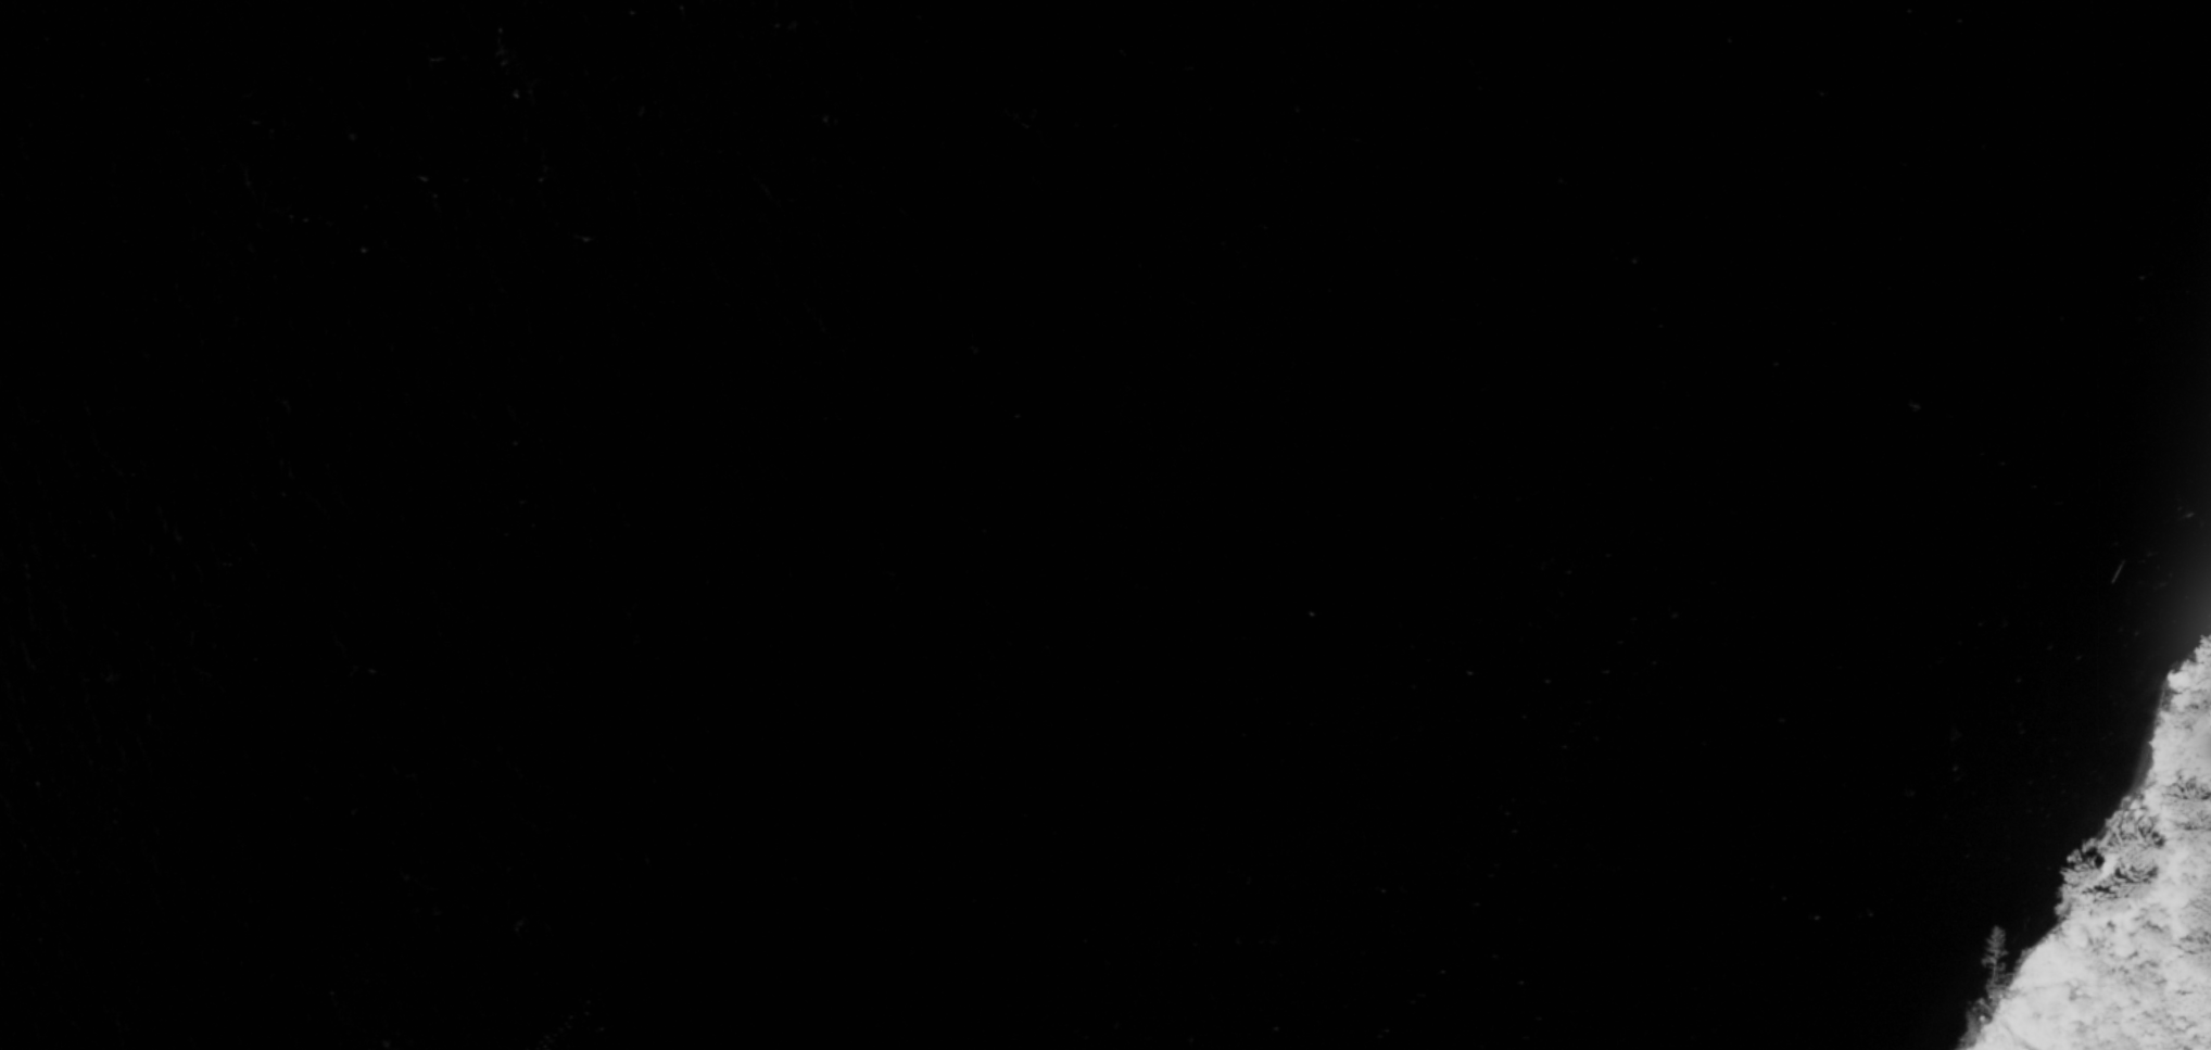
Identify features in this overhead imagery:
river: (500, 523)

